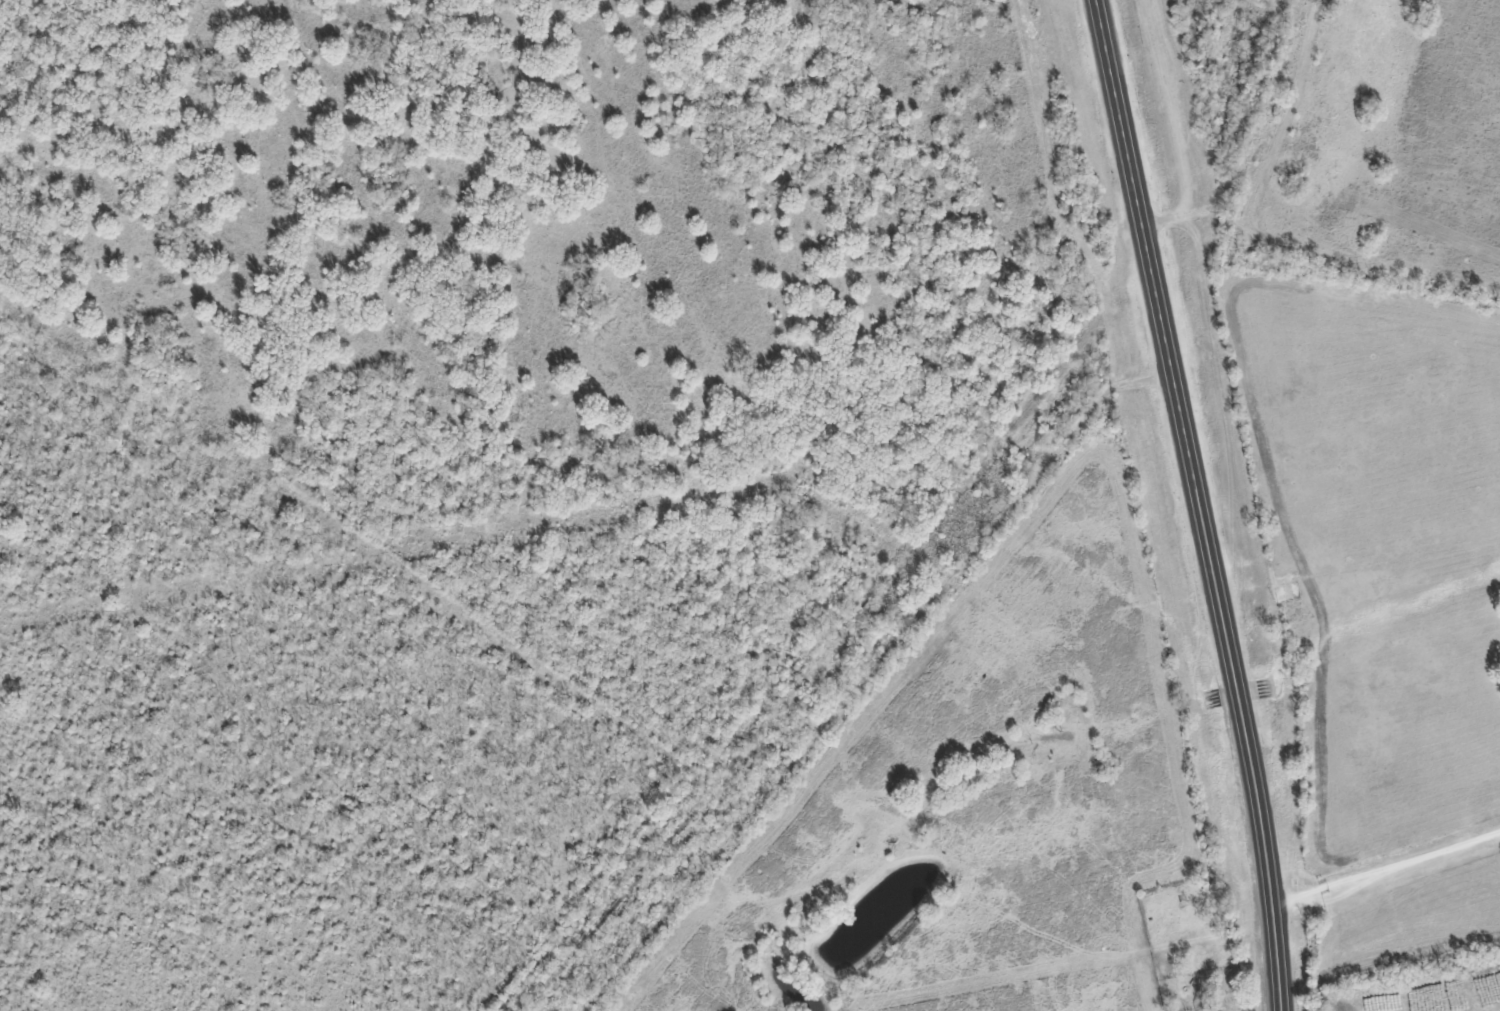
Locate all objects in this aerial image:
road: (1203, 503)
road: (875, 678)
road: (1386, 869)

